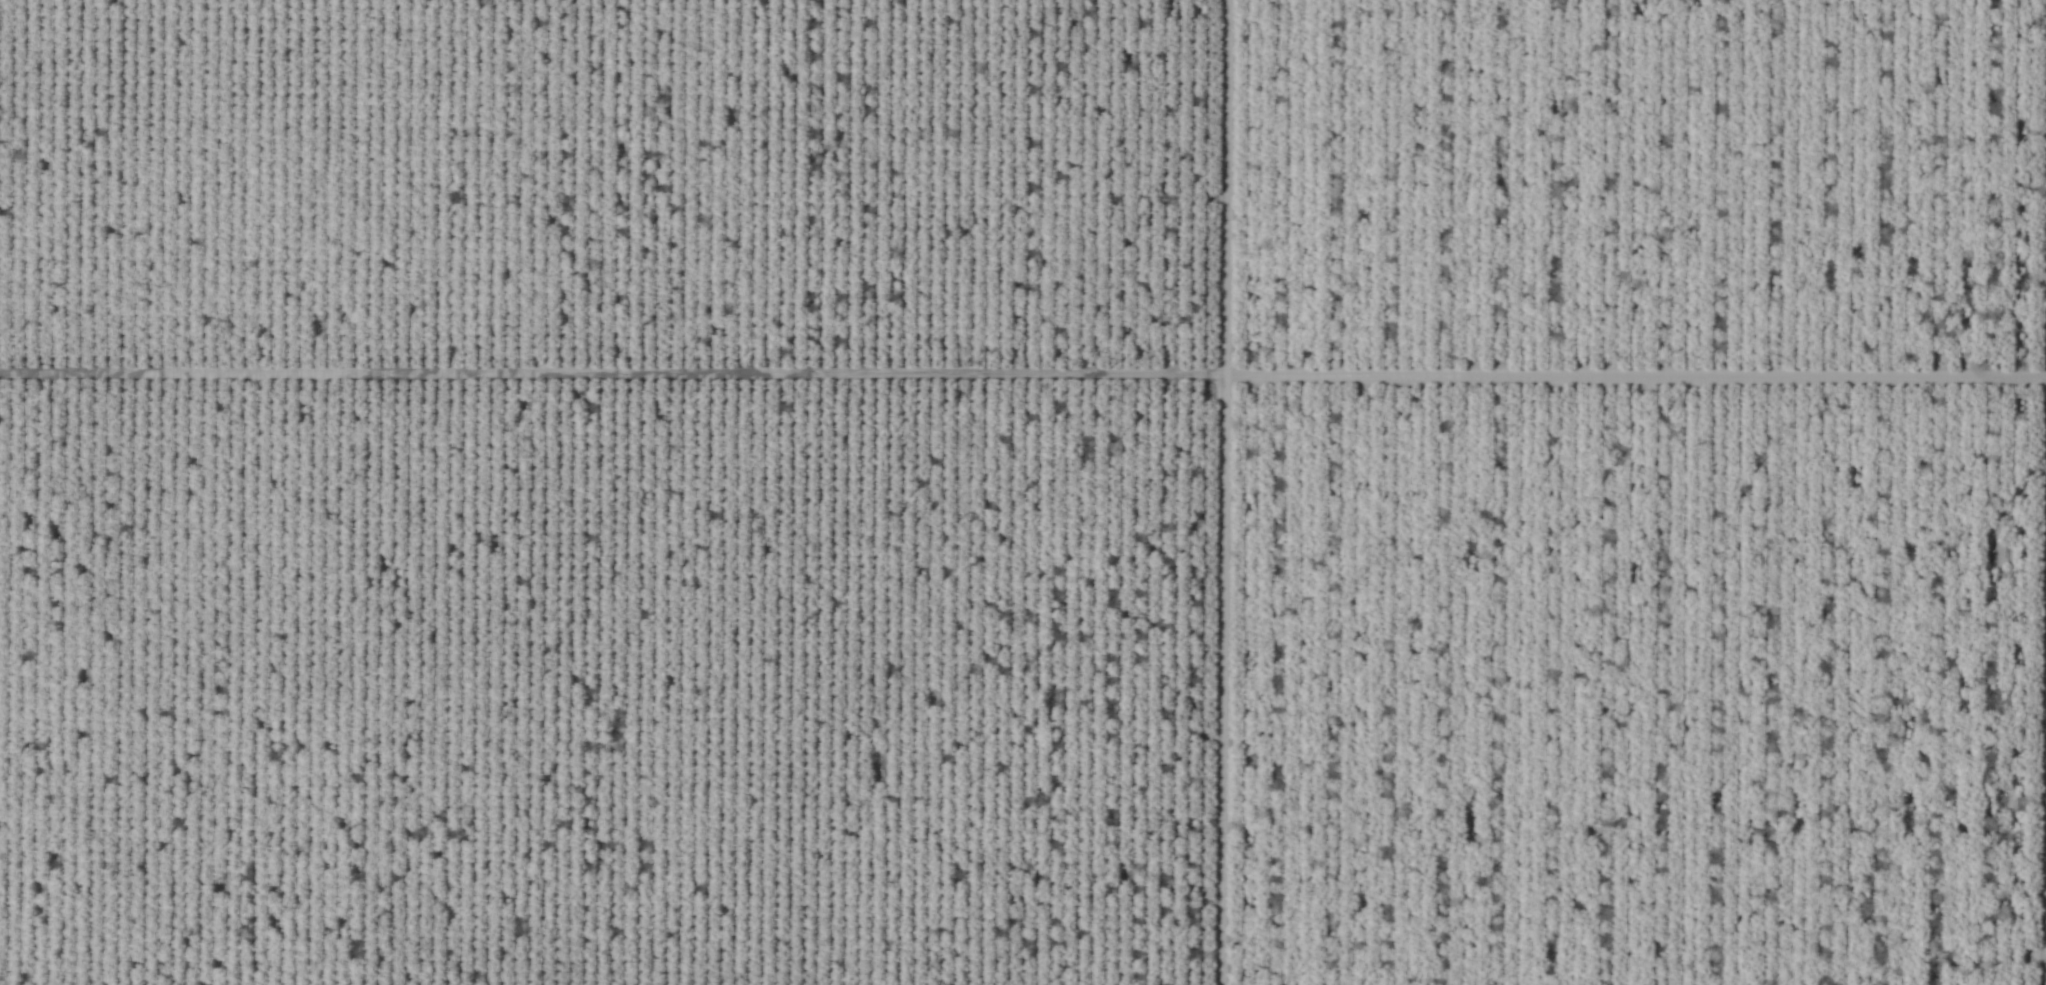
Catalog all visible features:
crop: (1023, 492)
road: (1192, 492)

